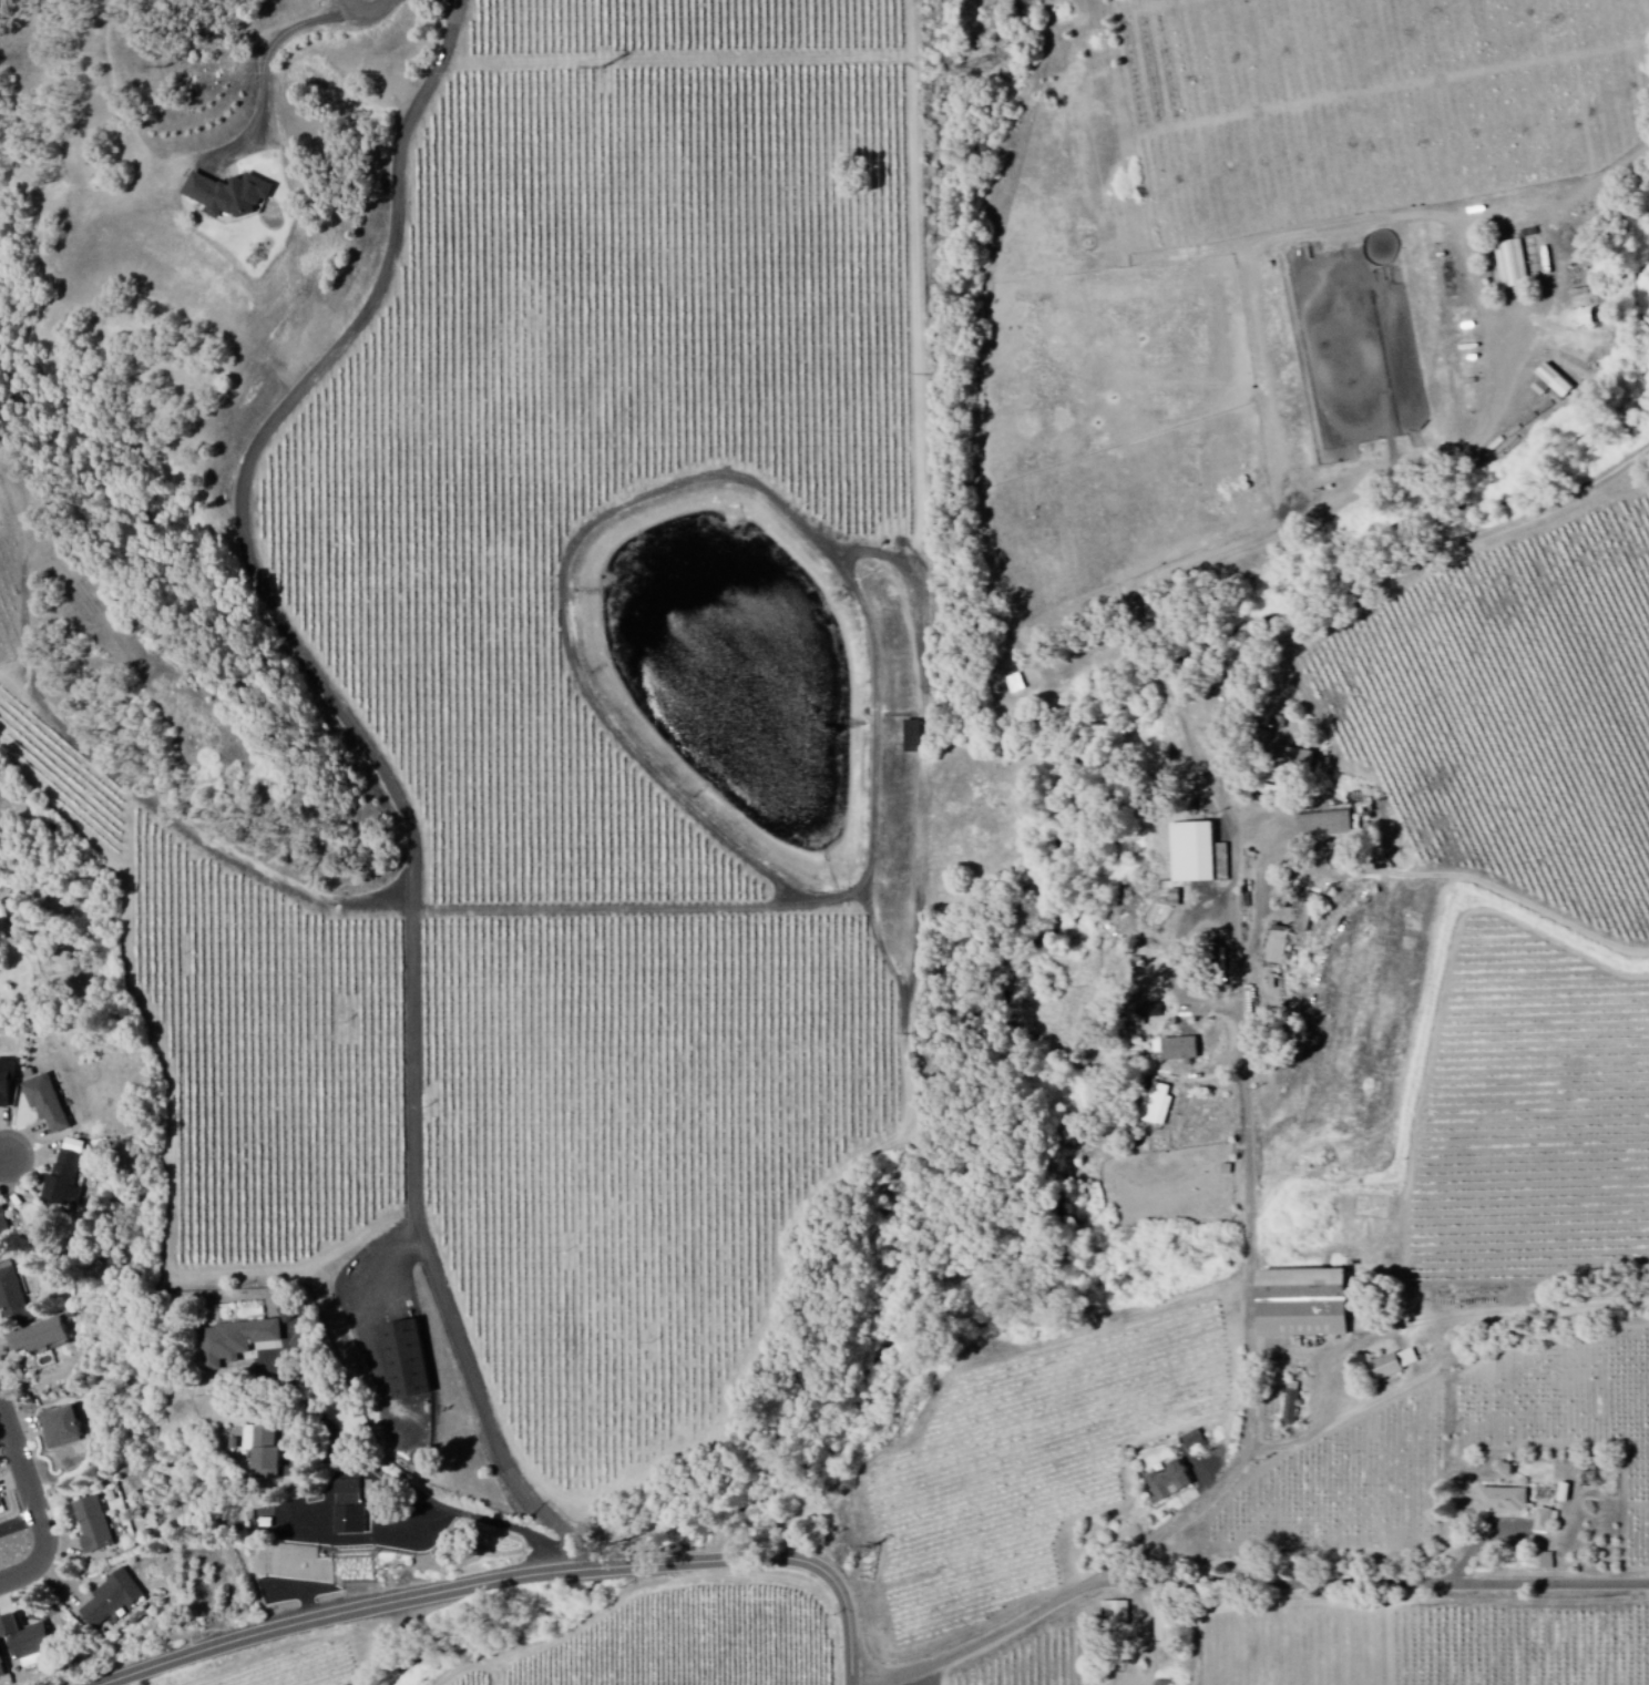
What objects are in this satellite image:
road: (365, 17)
road: (268, 75)
building: (228, 195)
building: (1512, 265)
building: (1551, 384)
building: (1016, 685)
building: (912, 737)
building: (1297, 759)
road: (376, 763)
building: (1325, 827)
building: (1192, 855)
road: (1375, 867)
building: (1308, 916)
building: (1278, 947)
building: (1180, 1052)
building: (8, 1083)
building: (51, 1104)
building: (1158, 1106)
road: (3, 1162)
building: (70, 1176)
building: (4, 1230)
building: (19, 1301)
building: (1301, 1304)
building: (43, 1338)
building: (309, 1340)
building: (240, 1342)
building: (414, 1362)
building: (1393, 1365)
road: (1442, 1379)
building: (1291, 1405)
building: (68, 1428)
building: (1194, 1441)
building: (265, 1449)
building: (1169, 1481)
building: (1564, 1494)
building: (1503, 1501)
road: (38, 1504)
building: (2, 1505)
building: (351, 1505)
building: (1545, 1521)
building: (96, 1526)
road: (1170, 1531)
road: (1533, 1545)
building: (1547, 1562)
road: (526, 1580)
road: (1258, 1585)
building: (117, 1600)
building: (1116, 1613)
building: (1163, 1626)
road: (571, 1628)
building: (3, 1666)

